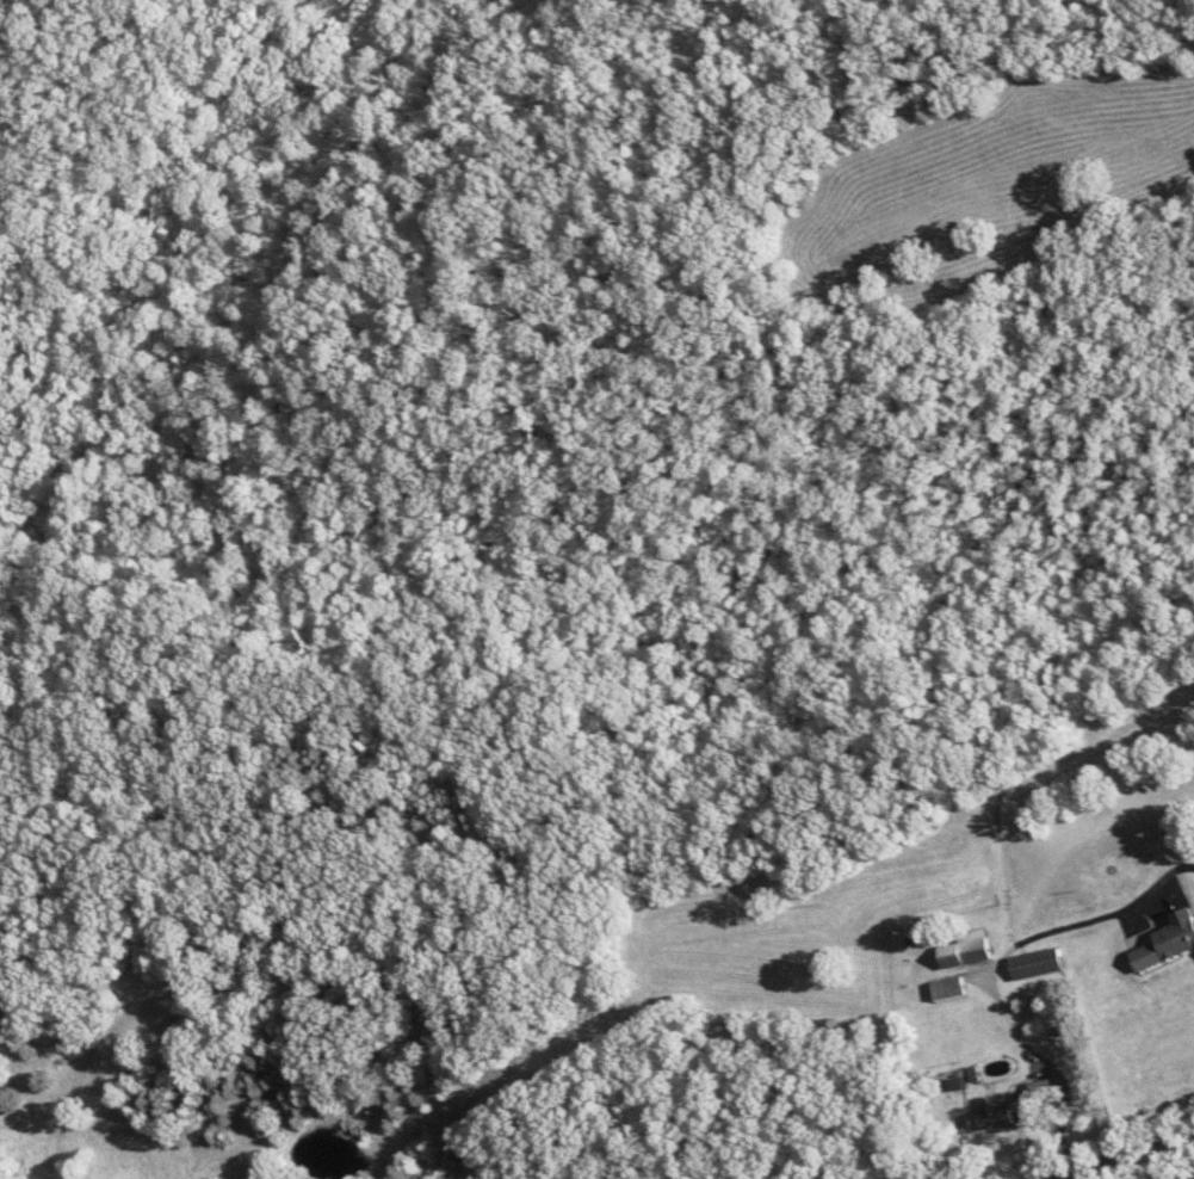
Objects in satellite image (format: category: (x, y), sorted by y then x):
building: (1169, 944)
building: (970, 951)
building: (1040, 965)
road: (1006, 999)
building: (1007, 1115)
road: (457, 1122)
road: (1122, 1158)

